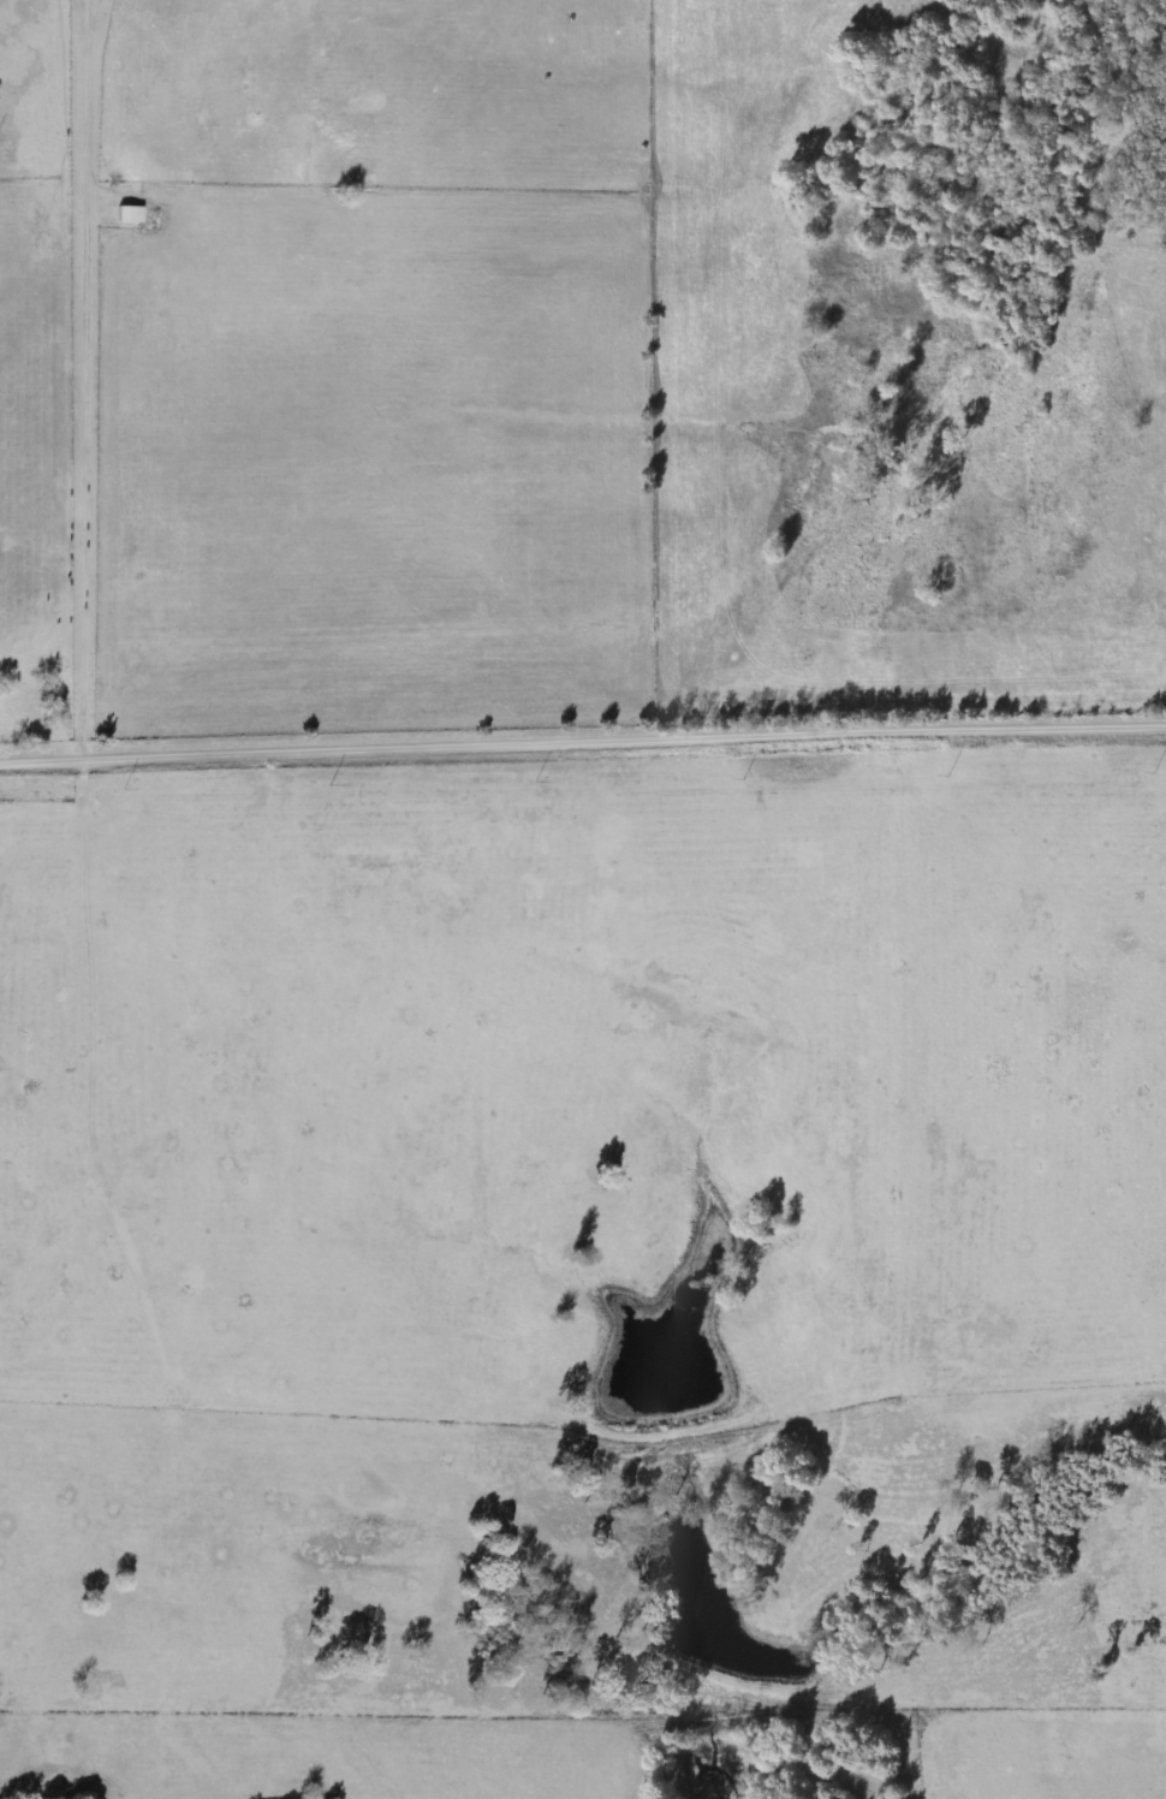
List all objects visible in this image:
building: (127, 215)
road: (582, 744)

